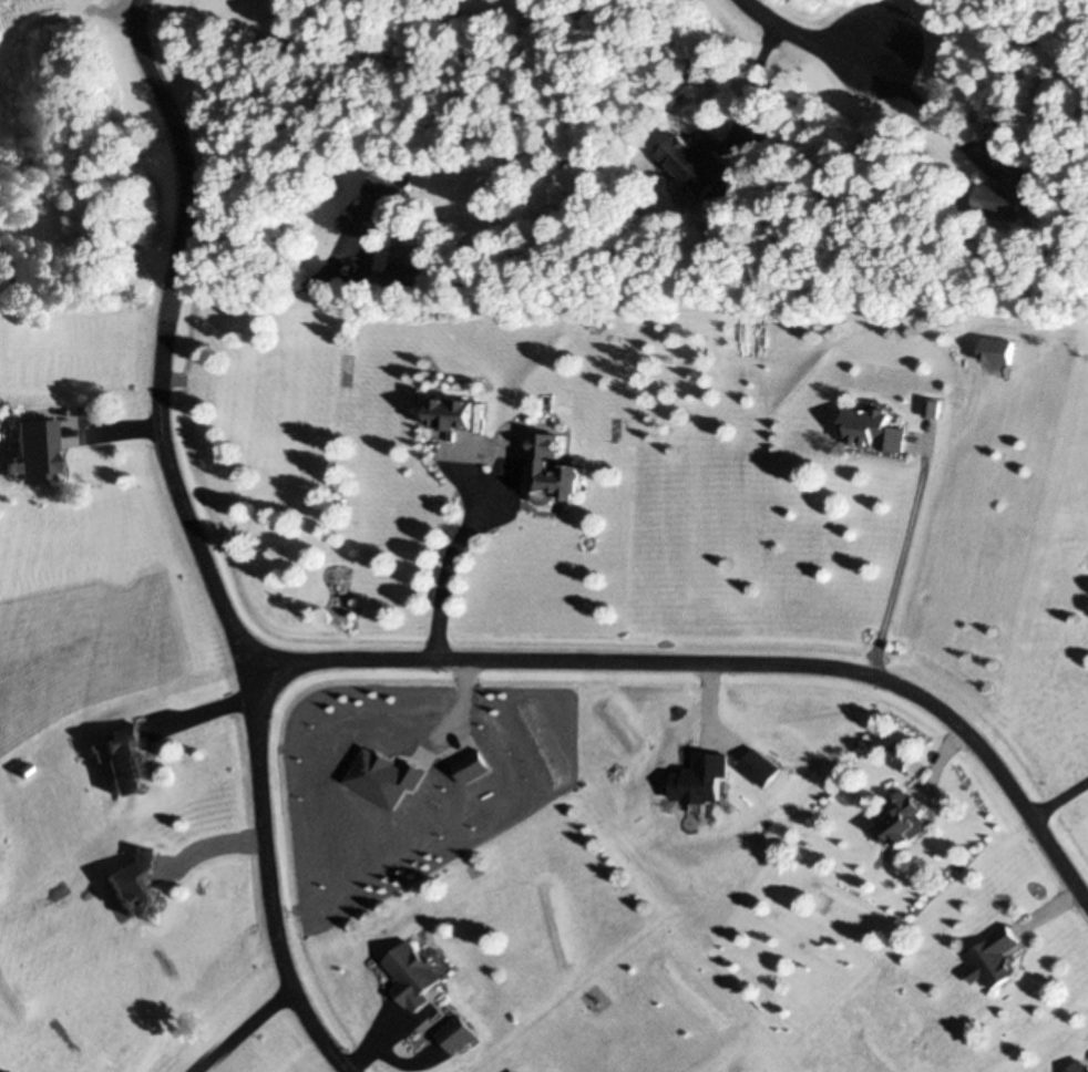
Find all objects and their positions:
road: (132, 9)
road: (810, 39)
building: (1002, 127)
building: (700, 166)
building: (1009, 192)
building: (377, 207)
building: (410, 272)
building: (934, 406)
building: (453, 412)
building: (874, 429)
building: (40, 446)
building: (554, 470)
road: (194, 542)
road: (722, 664)
building: (123, 757)
building: (905, 822)
building: (135, 882)
building: (995, 957)
building: (413, 973)
building: (456, 1033)
building: (1079, 1065)
building: (523, 1071)

